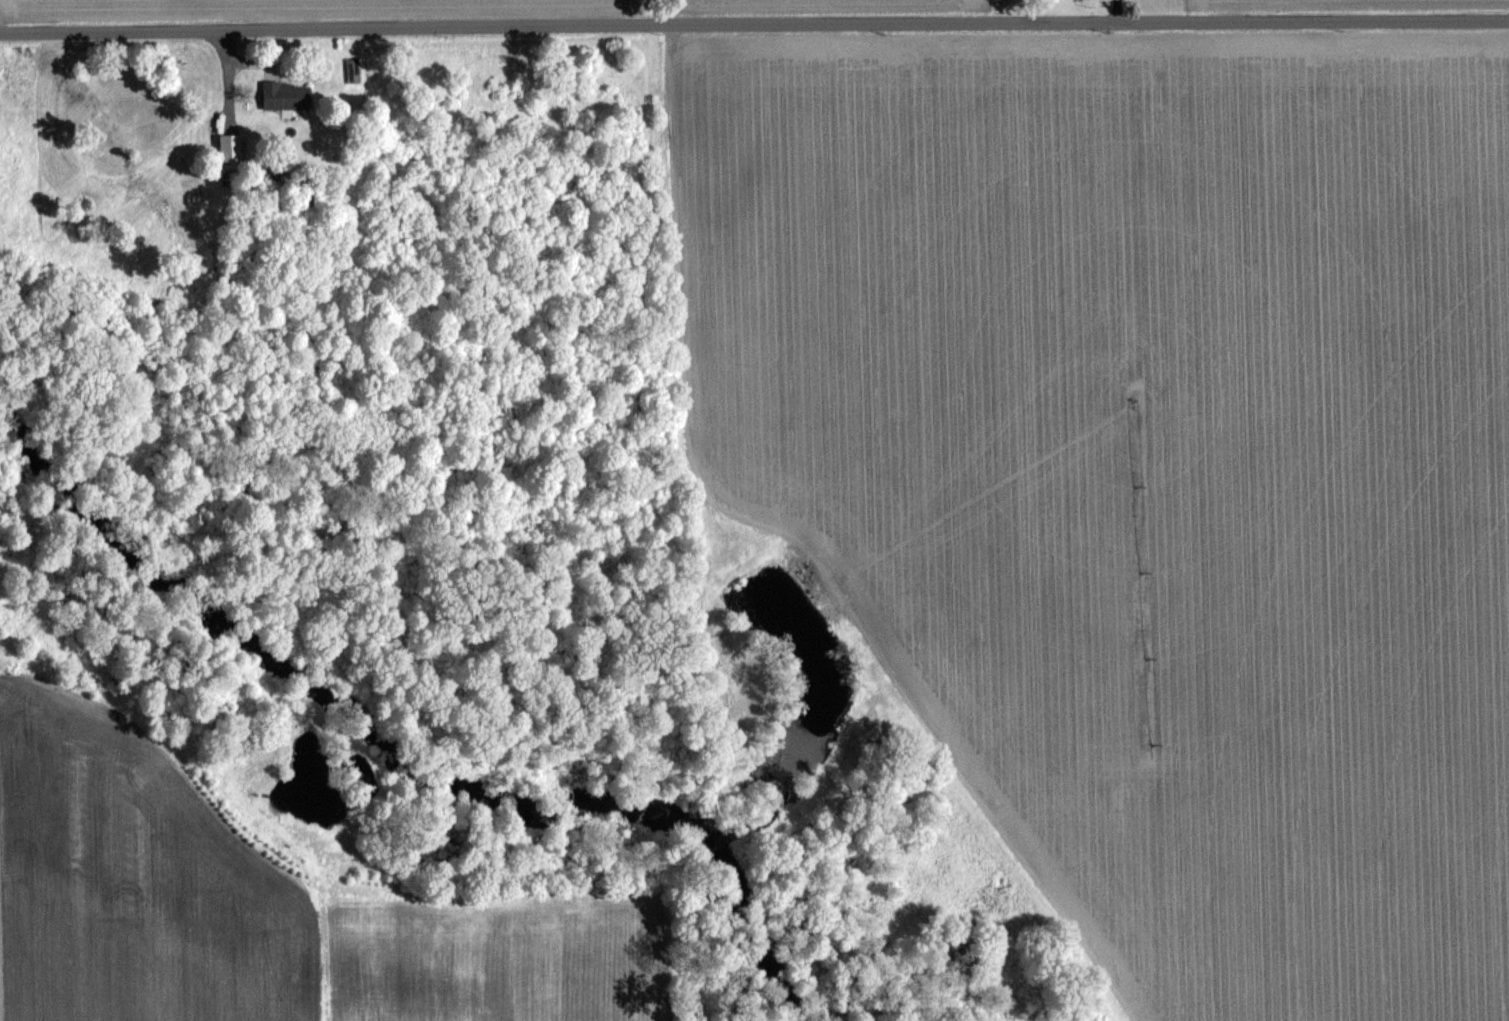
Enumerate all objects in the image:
road: (754, 23)
building: (289, 95)

